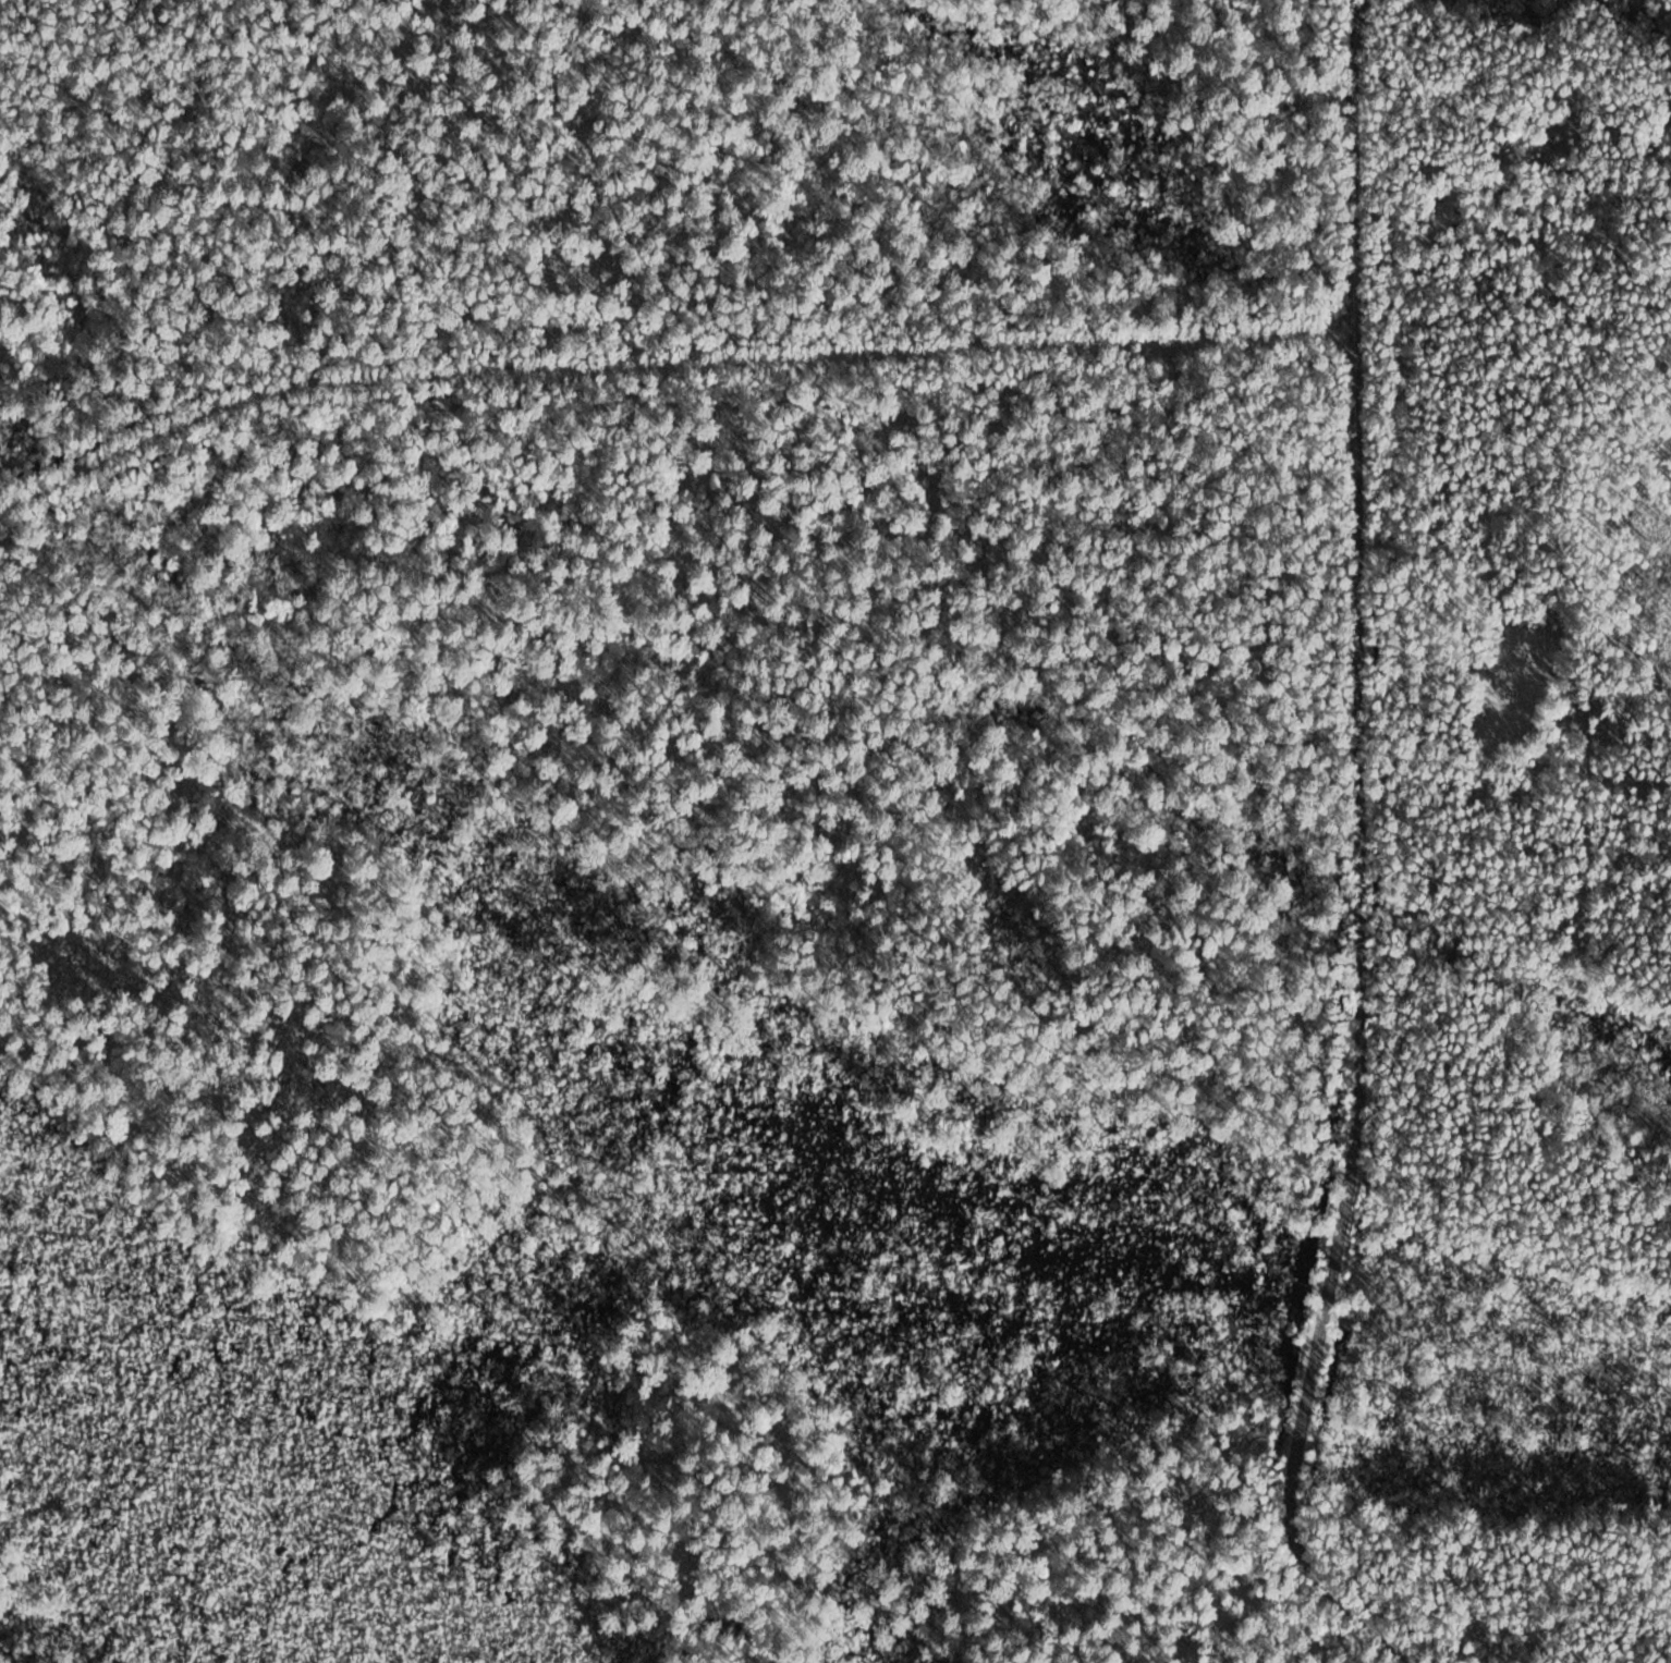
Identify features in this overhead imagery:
road: (1516, 189)
road: (666, 365)
road: (1363, 861)
road: (4, 934)

